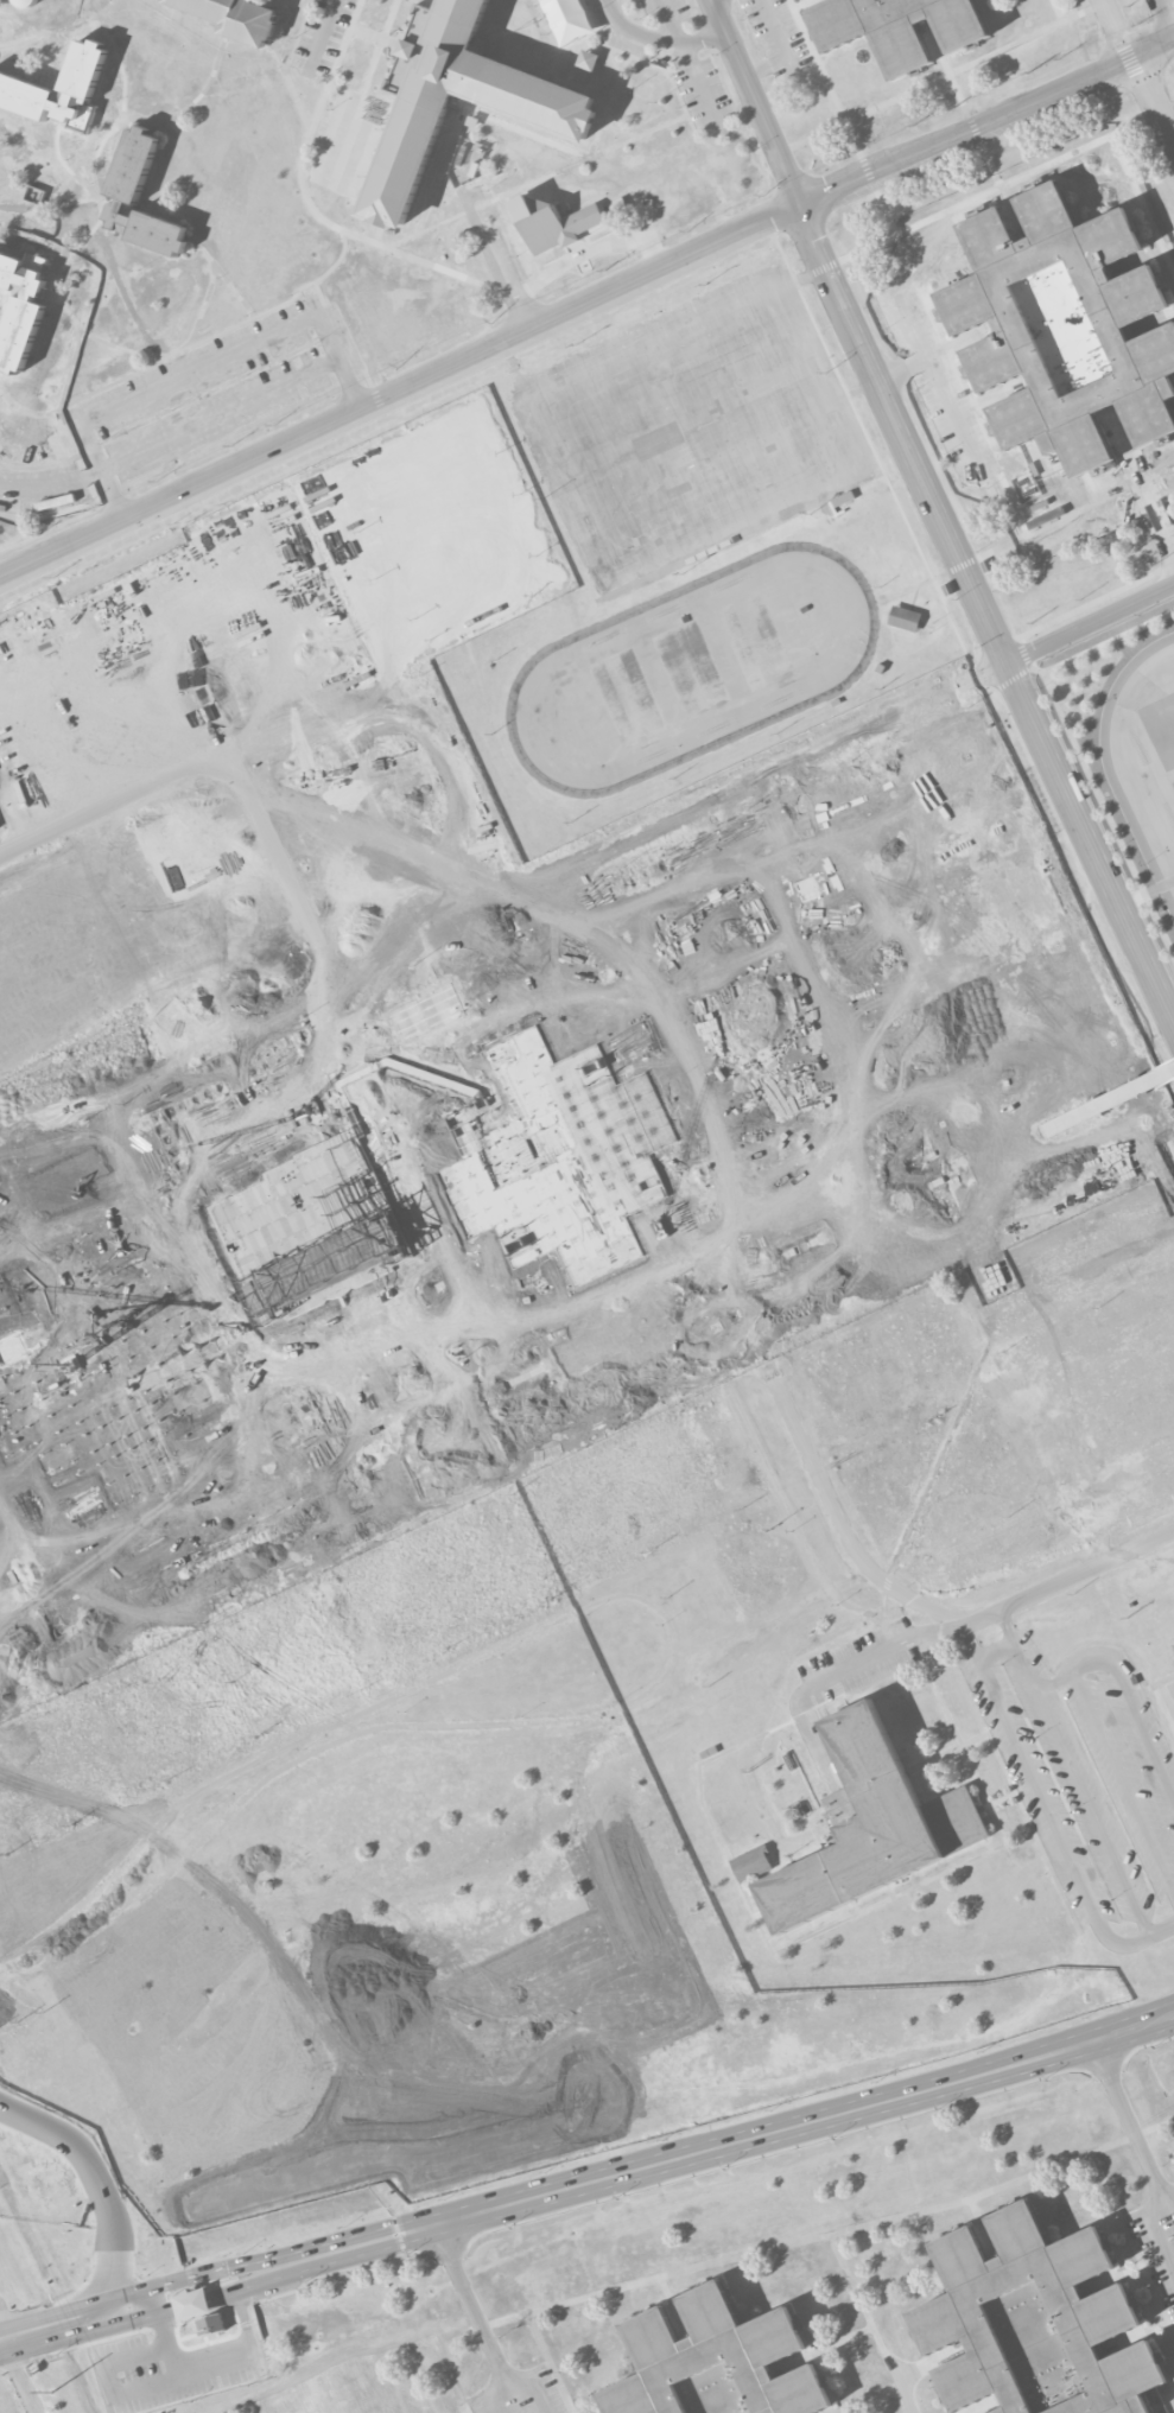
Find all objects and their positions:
building: (799, 0)
road: (1168, 15)
building: (236, 18)
road: (671, 18)
building: (896, 30)
road: (322, 31)
road: (661, 32)
road: (787, 50)
building: (588, 61)
road: (1138, 74)
building: (80, 82)
building: (457, 100)
road: (973, 126)
road: (1072, 154)
building: (133, 167)
building: (552, 223)
road: (868, 248)
road: (594, 253)
road: (500, 262)
road: (817, 271)
road: (585, 304)
building: (20, 312)
road: (935, 325)
building: (1062, 325)
road: (857, 331)
road: (918, 344)
road: (222, 357)
road: (951, 412)
road: (220, 415)
road: (1172, 433)
road: (874, 450)
road: (1140, 480)
road: (76, 481)
road: (1089, 484)
road: (1074, 510)
building: (985, 565)
road: (954, 567)
building: (947, 589)
road: (1096, 599)
building: (905, 618)
road: (1071, 631)
road: (1023, 652)
road: (1039, 669)
road: (976, 677)
road: (1014, 679)
road: (992, 687)
road: (1077, 750)
parking lot: (1, 764)
road: (1089, 843)
building: (1033, 846)
building: (1004, 853)
building: (436, 861)
building: (1055, 870)
road: (1089, 903)
park: (1001, 989)
road: (1106, 1100)
road: (1027, 1138)
road: (926, 1176)
road: (1036, 1189)
parking lot: (1004, 1228)
road: (1105, 1277)
building: (1149, 1360)
road: (928, 1484)
road: (1073, 1575)
road: (671, 1639)
road: (842, 1671)
road: (1053, 1683)
road: (1081, 1691)
road: (1074, 1772)
parking lot: (1087, 1780)
road: (1022, 1783)
road: (996, 1801)
road: (1043, 1802)
building: (870, 1827)
building: (751, 1863)
road: (1162, 1929)
road: (1143, 2045)
road: (1110, 2074)
road: (679, 2090)
road: (1132, 2139)
road: (732, 2142)
road: (776, 2151)
road: (1143, 2152)
road: (1166, 2189)
parking lot: (1157, 2242)
road: (1131, 2243)
road: (453, 2261)
road: (236, 2266)
road: (342, 2268)
road: (659, 2277)
road: (1112, 2279)
road: (243, 2290)
road: (140, 2293)
road: (673, 2310)
road: (147, 2314)
road: (477, 2317)
road: (243, 2320)
road: (870, 2323)
building: (1035, 2323)
building: (211, 2324)
road: (7, 2328)
road: (51, 2332)
road: (1135, 2339)
road: (823, 2349)
road: (211, 2358)
road: (550, 2363)
building: (713, 2363)
parking lot: (167, 2368)
road: (449, 2376)
road: (20, 2379)
road: (110, 2379)
road: (526, 2385)
power tower: (51, 2392)
parking lot: (521, 2394)
road: (313, 2395)
road: (869, 2399)
building: (356, 2400)
road: (988, 2406)
building: (307, 2411)
building: (433, 2411)

